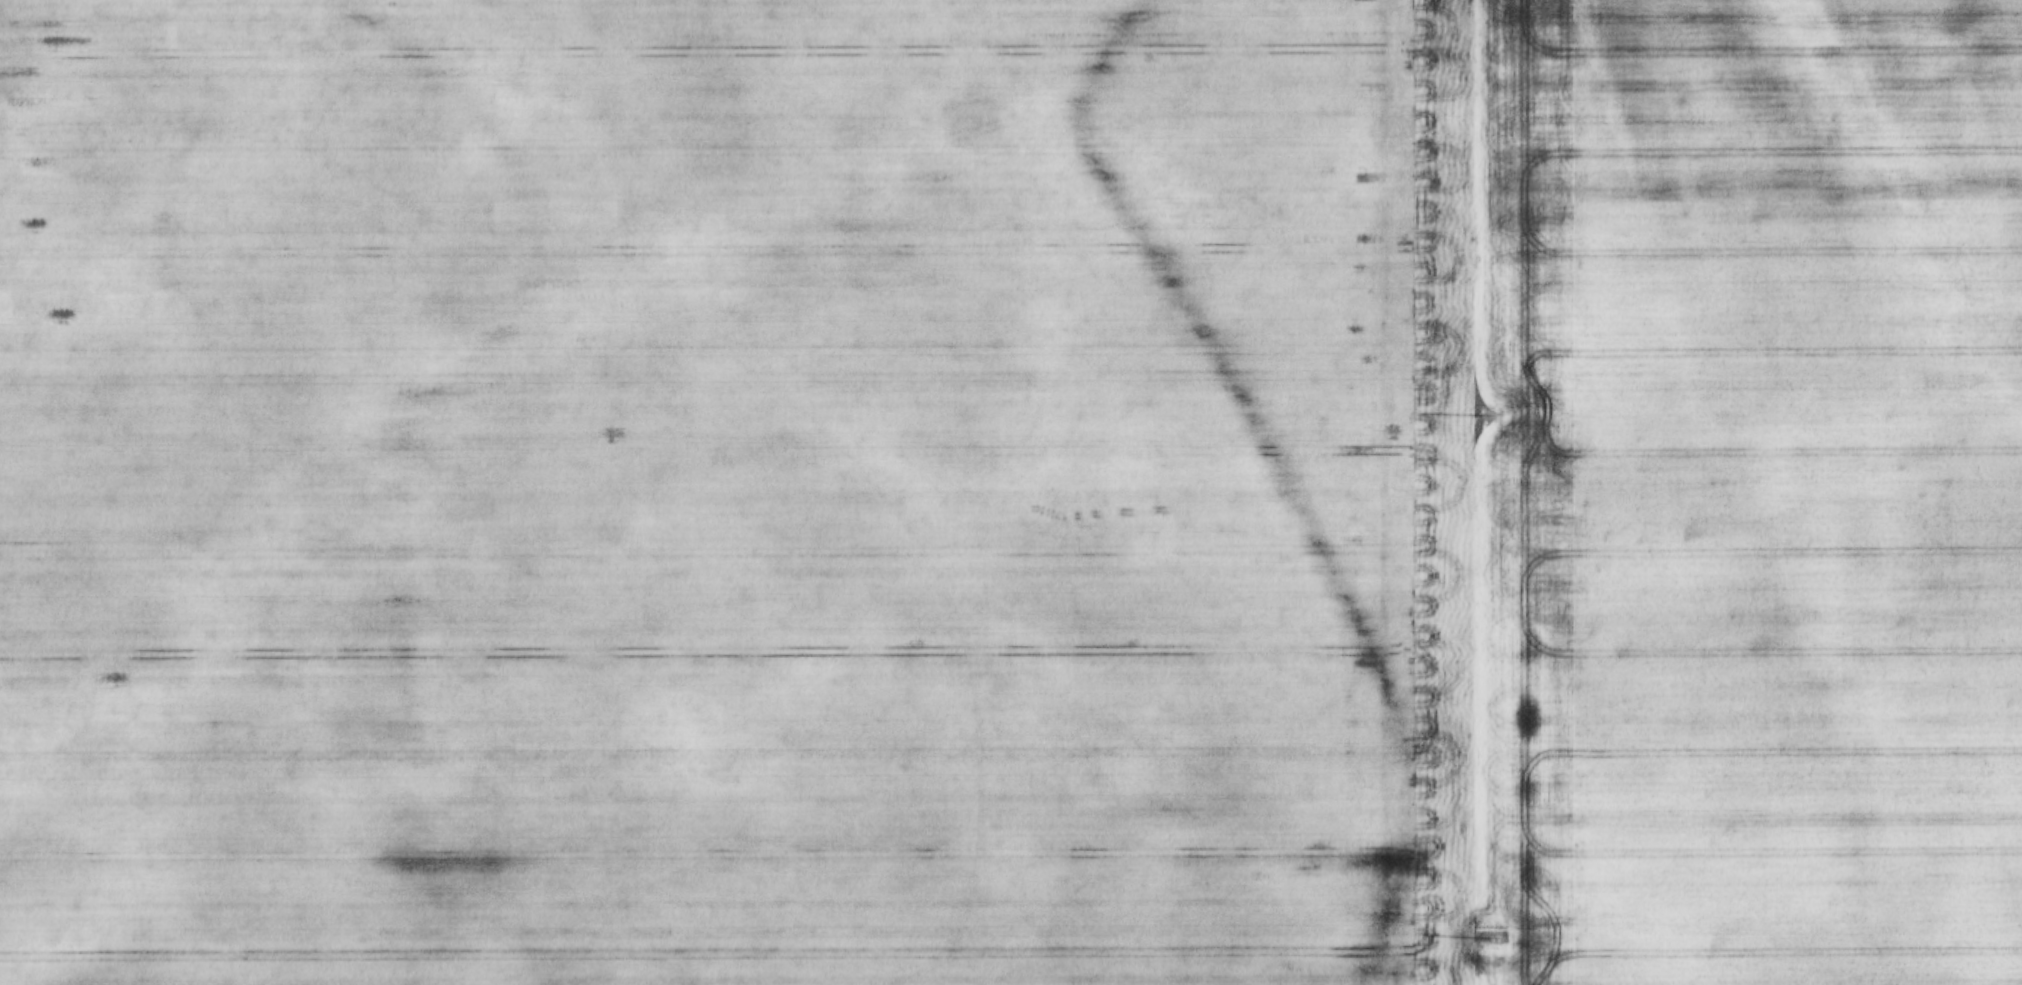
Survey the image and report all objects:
power tower: (1491, 414)

